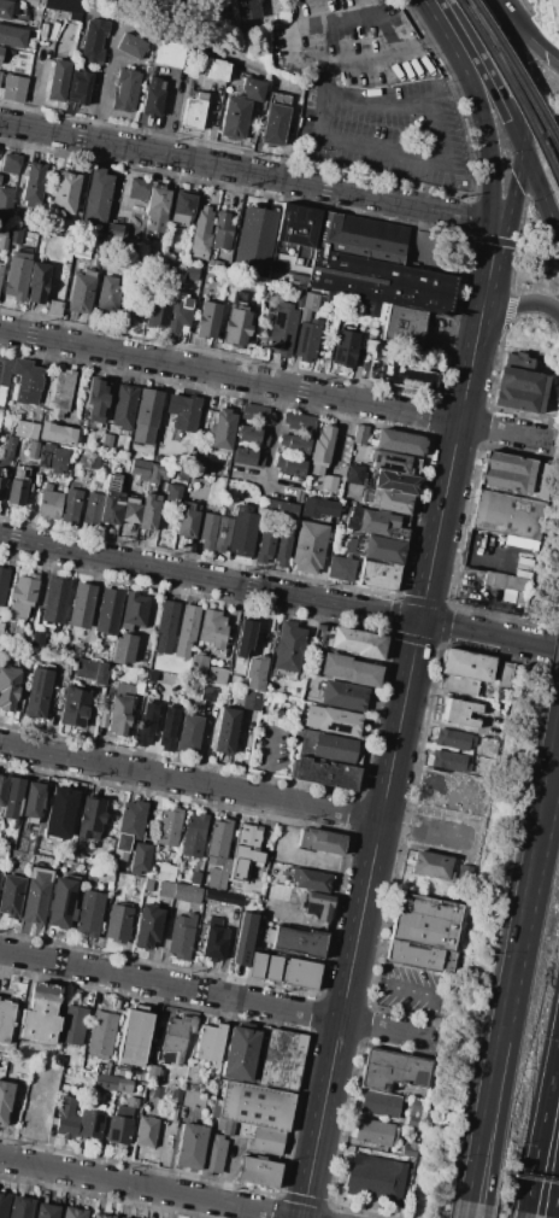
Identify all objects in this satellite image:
building: (30, 2)
building: (69, 7)
building: (6, 8)
building: (245, 8)
building: (553, 12)
road: (529, 29)
building: (12, 36)
building: (93, 42)
building: (130, 47)
building: (0, 51)
building: (167, 53)
road: (389, 55)
road: (300, 60)
building: (216, 69)
road: (482, 69)
road: (516, 69)
railway: (516, 71)
building: (0, 72)
building: (57, 80)
road: (101, 84)
building: (78, 87)
building: (12, 88)
building: (252, 88)
building: (125, 89)
parking lot: (370, 93)
railway: (511, 93)
building: (152, 98)
road: (377, 101)
road: (478, 106)
building: (193, 111)
building: (234, 117)
building: (275, 118)
road: (437, 136)
traffic signals: (522, 145)
road: (378, 148)
building: (10, 164)
road: (248, 171)
building: (0, 176)
building: (34, 182)
road: (514, 185)
building: (137, 189)
road: (540, 191)
building: (64, 192)
building: (96, 197)
building: (5, 201)
building: (182, 206)
building: (155, 210)
traffic signals: (498, 222)
building: (112, 230)
building: (222, 230)
building: (200, 233)
building: (14, 235)
building: (254, 236)
building: (2, 238)
building: (352, 259)
building: (1, 269)
building: (16, 275)
road: (486, 281)
building: (37, 282)
building: (105, 293)
building: (298, 293)
building: (80, 294)
building: (311, 298)
road: (511, 304)
building: (178, 310)
building: (157, 315)
building: (207, 321)
building: (402, 324)
building: (236, 327)
building: (281, 332)
building: (306, 339)
building: (343, 349)
building: (5, 358)
building: (373, 358)
building: (518, 362)
building: (4, 376)
building: (407, 377)
building: (25, 381)
road: (275, 385)
building: (519, 390)
building: (59, 393)
building: (95, 400)
building: (123, 406)
building: (182, 411)
building: (255, 412)
building: (146, 417)
building: (299, 421)
building: (223, 429)
building: (45, 432)
road: (273, 432)
building: (359, 434)
building: (252, 435)
building: (106, 441)
building: (399, 441)
building: (298, 445)
building: (33, 450)
building: (320, 450)
building: (247, 457)
building: (52, 458)
building: (90, 459)
building: (390, 461)
building: (198, 465)
building: (294, 467)
building: (139, 469)
building: (157, 473)
building: (508, 473)
building: (180, 475)
road: (258, 475)
building: (354, 475)
building: (19, 476)
building: (395, 482)
building: (114, 484)
building: (329, 484)
building: (1, 487)
building: (17, 491)
building: (172, 493)
building: (389, 502)
building: (49, 503)
building: (70, 505)
building: (317, 508)
building: (89, 509)
building: (110, 510)
building: (286, 510)
building: (130, 513)
building: (147, 514)
building: (506, 514)
building: (186, 520)
building: (376, 522)
building: (351, 523)
building: (207, 529)
building: (242, 532)
building: (220, 534)
building: (308, 546)
building: (354, 546)
building: (264, 547)
building: (282, 550)
building: (383, 550)
building: (341, 569)
building: (378, 576)
building: (2, 582)
building: (507, 586)
road: (247, 587)
building: (22, 596)
building: (54, 599)
building: (81, 605)
building: (134, 610)
building: (108, 611)
building: (166, 619)
building: (188, 623)
building: (0, 628)
building: (212, 630)
building: (245, 637)
building: (37, 639)
building: (357, 642)
road: (528, 644)
building: (288, 646)
building: (123, 650)
building: (169, 664)
building: (198, 664)
building: (83, 668)
building: (349, 669)
building: (464, 671)
building: (255, 673)
building: (99, 674)
building: (216, 674)
building: (269, 680)
building: (7, 689)
building: (122, 689)
building: (39, 692)
road: (558, 693)
building: (343, 696)
building: (252, 701)
building: (73, 707)
building: (458, 712)
building: (118, 714)
building: (333, 720)
building: (145, 730)
building: (226, 731)
building: (188, 733)
building: (167, 734)
building: (452, 739)
building: (333, 746)
building: (448, 760)
road: (546, 761)
road: (269, 762)
building: (325, 773)
road: (387, 779)
road: (435, 785)
building: (2, 789)
road: (547, 790)
road: (235, 792)
building: (12, 797)
building: (33, 802)
building: (58, 810)
building: (89, 818)
building: (128, 827)
building: (169, 827)
building: (195, 836)
building: (218, 841)
building: (320, 842)
building: (248, 844)
building: (22, 845)
building: (139, 857)
building: (431, 865)
building: (224, 866)
building: (234, 866)
building: (165, 872)
road: (525, 873)
building: (310, 879)
building: (217, 880)
building: (165, 889)
building: (277, 891)
building: (187, 894)
building: (11, 895)
building: (36, 895)
building: (220, 897)
building: (60, 902)
building: (318, 906)
building: (89, 913)
building: (234, 917)
building: (118, 921)
building: (424, 921)
building: (147, 926)
building: (182, 936)
building: (241, 938)
building: (296, 939)
building: (214, 944)
building: (412, 956)
building: (263, 966)
building: (299, 973)
road: (169, 985)
parking lot: (411, 990)
road: (411, 990)
building: (40, 1013)
building: (5, 1020)
road: (383, 1029)
building: (71, 1035)
building: (101, 1035)
building: (135, 1037)
building: (177, 1038)
building: (210, 1042)
building: (240, 1054)
building: (281, 1059)
road: (490, 1064)
road: (507, 1066)
building: (394, 1070)
building: (153, 1074)
building: (105, 1082)
building: (120, 1084)
building: (157, 1091)
building: (176, 1096)
building: (194, 1099)
building: (4, 1100)
building: (133, 1102)
building: (378, 1103)
building: (257, 1106)
building: (66, 1118)
building: (92, 1122)
road: (541, 1123)
building: (219, 1124)
building: (120, 1125)
building: (228, 1128)
building: (237, 1128)
building: (245, 1130)
building: (146, 1131)
building: (375, 1132)
building: (265, 1141)
building: (189, 1146)
building: (212, 1155)
building: (258, 1172)
building: (377, 1178)
road: (146, 1188)
building: (4, 1204)
building: (19, 1207)
road: (464, 1210)
road: (558, 1210)
building: (46, 1211)
road: (486, 1211)
building: (72, 1213)
road: (523, 1214)
building: (101, 1216)
building: (120, 1217)

